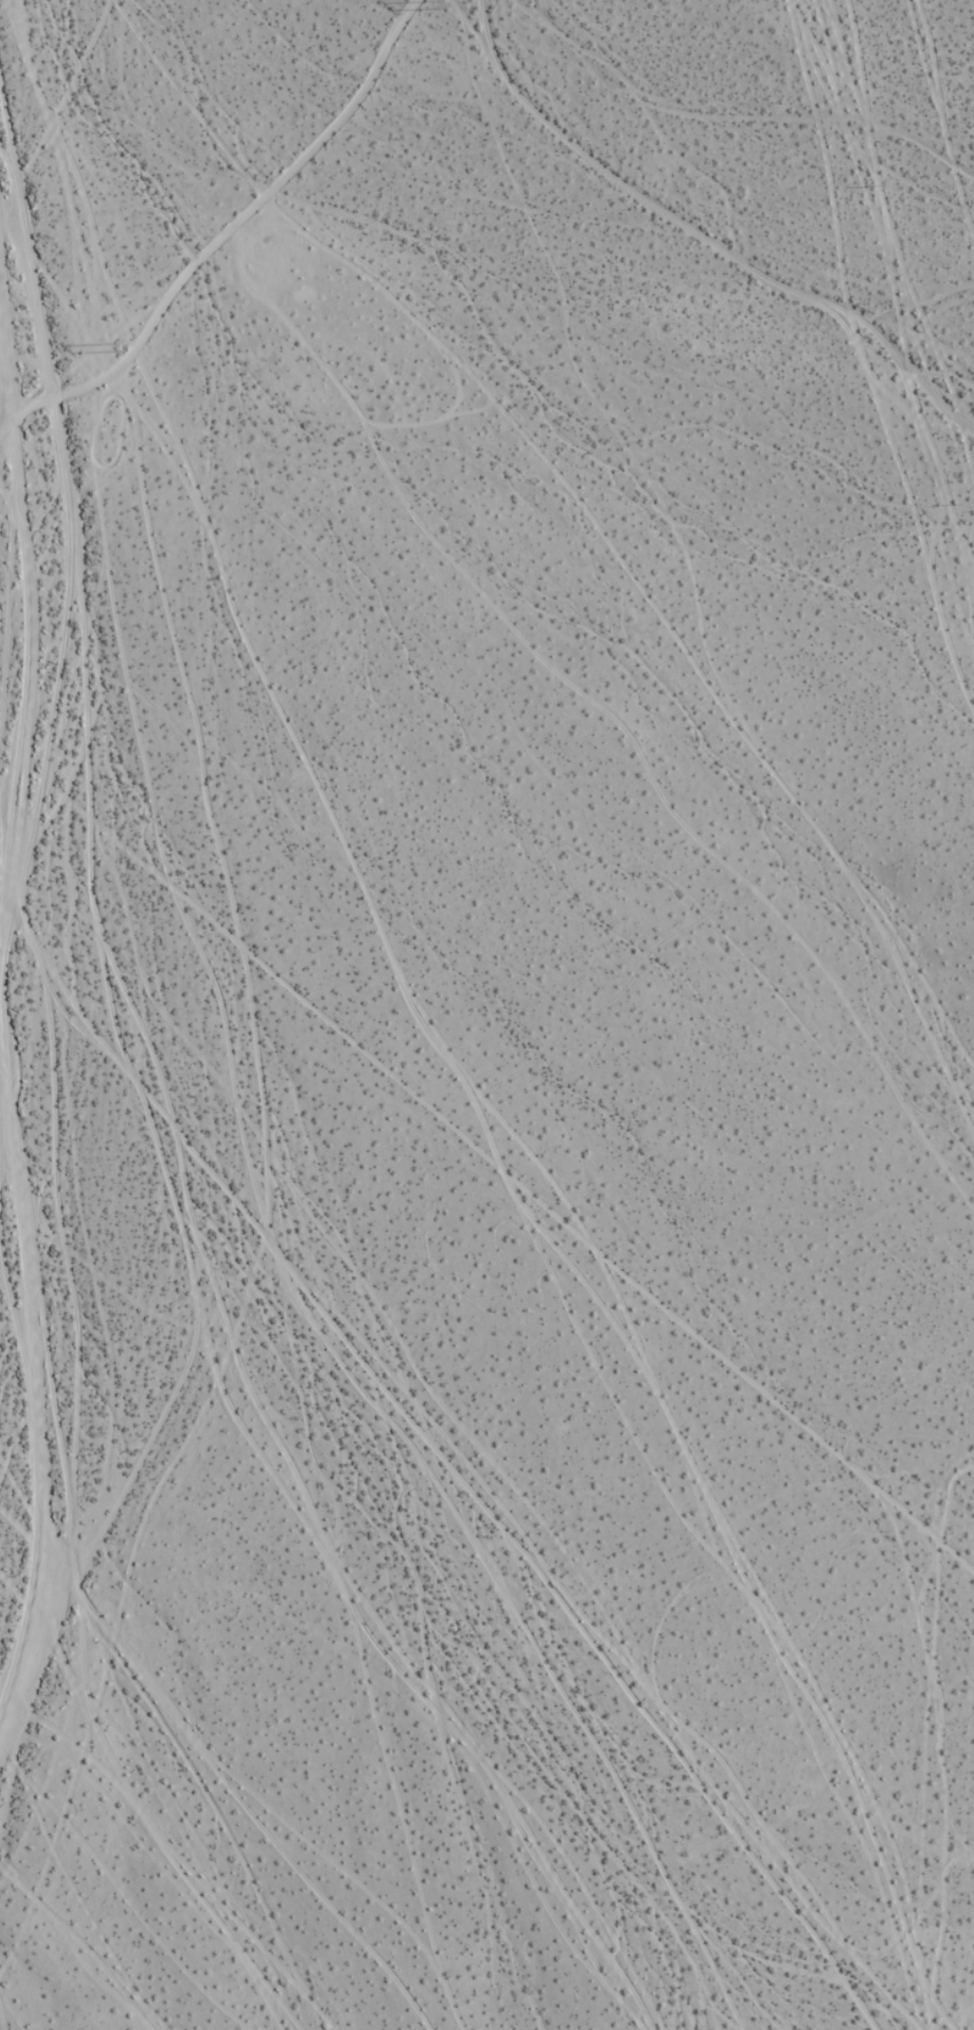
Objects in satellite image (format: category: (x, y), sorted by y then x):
power tower: (451, 2)
road: (220, 232)
power tower: (125, 345)
road: (39, 1522)

